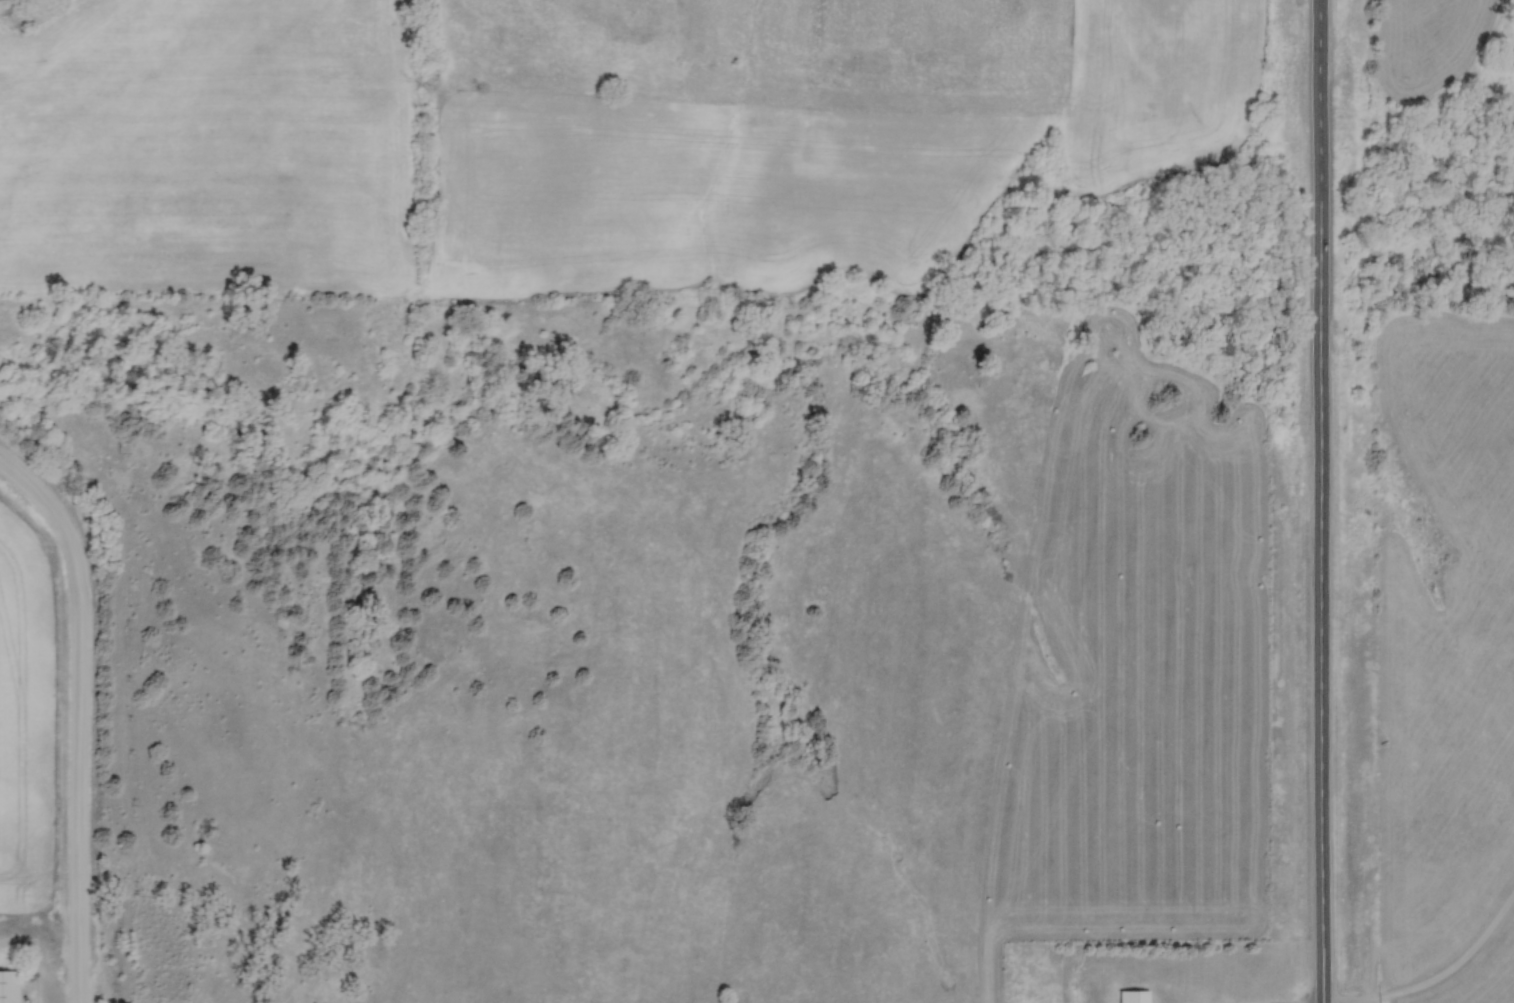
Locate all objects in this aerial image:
road: (1318, 501)
road: (77, 720)
road: (1458, 971)
building: (6, 985)
building: (1133, 996)

